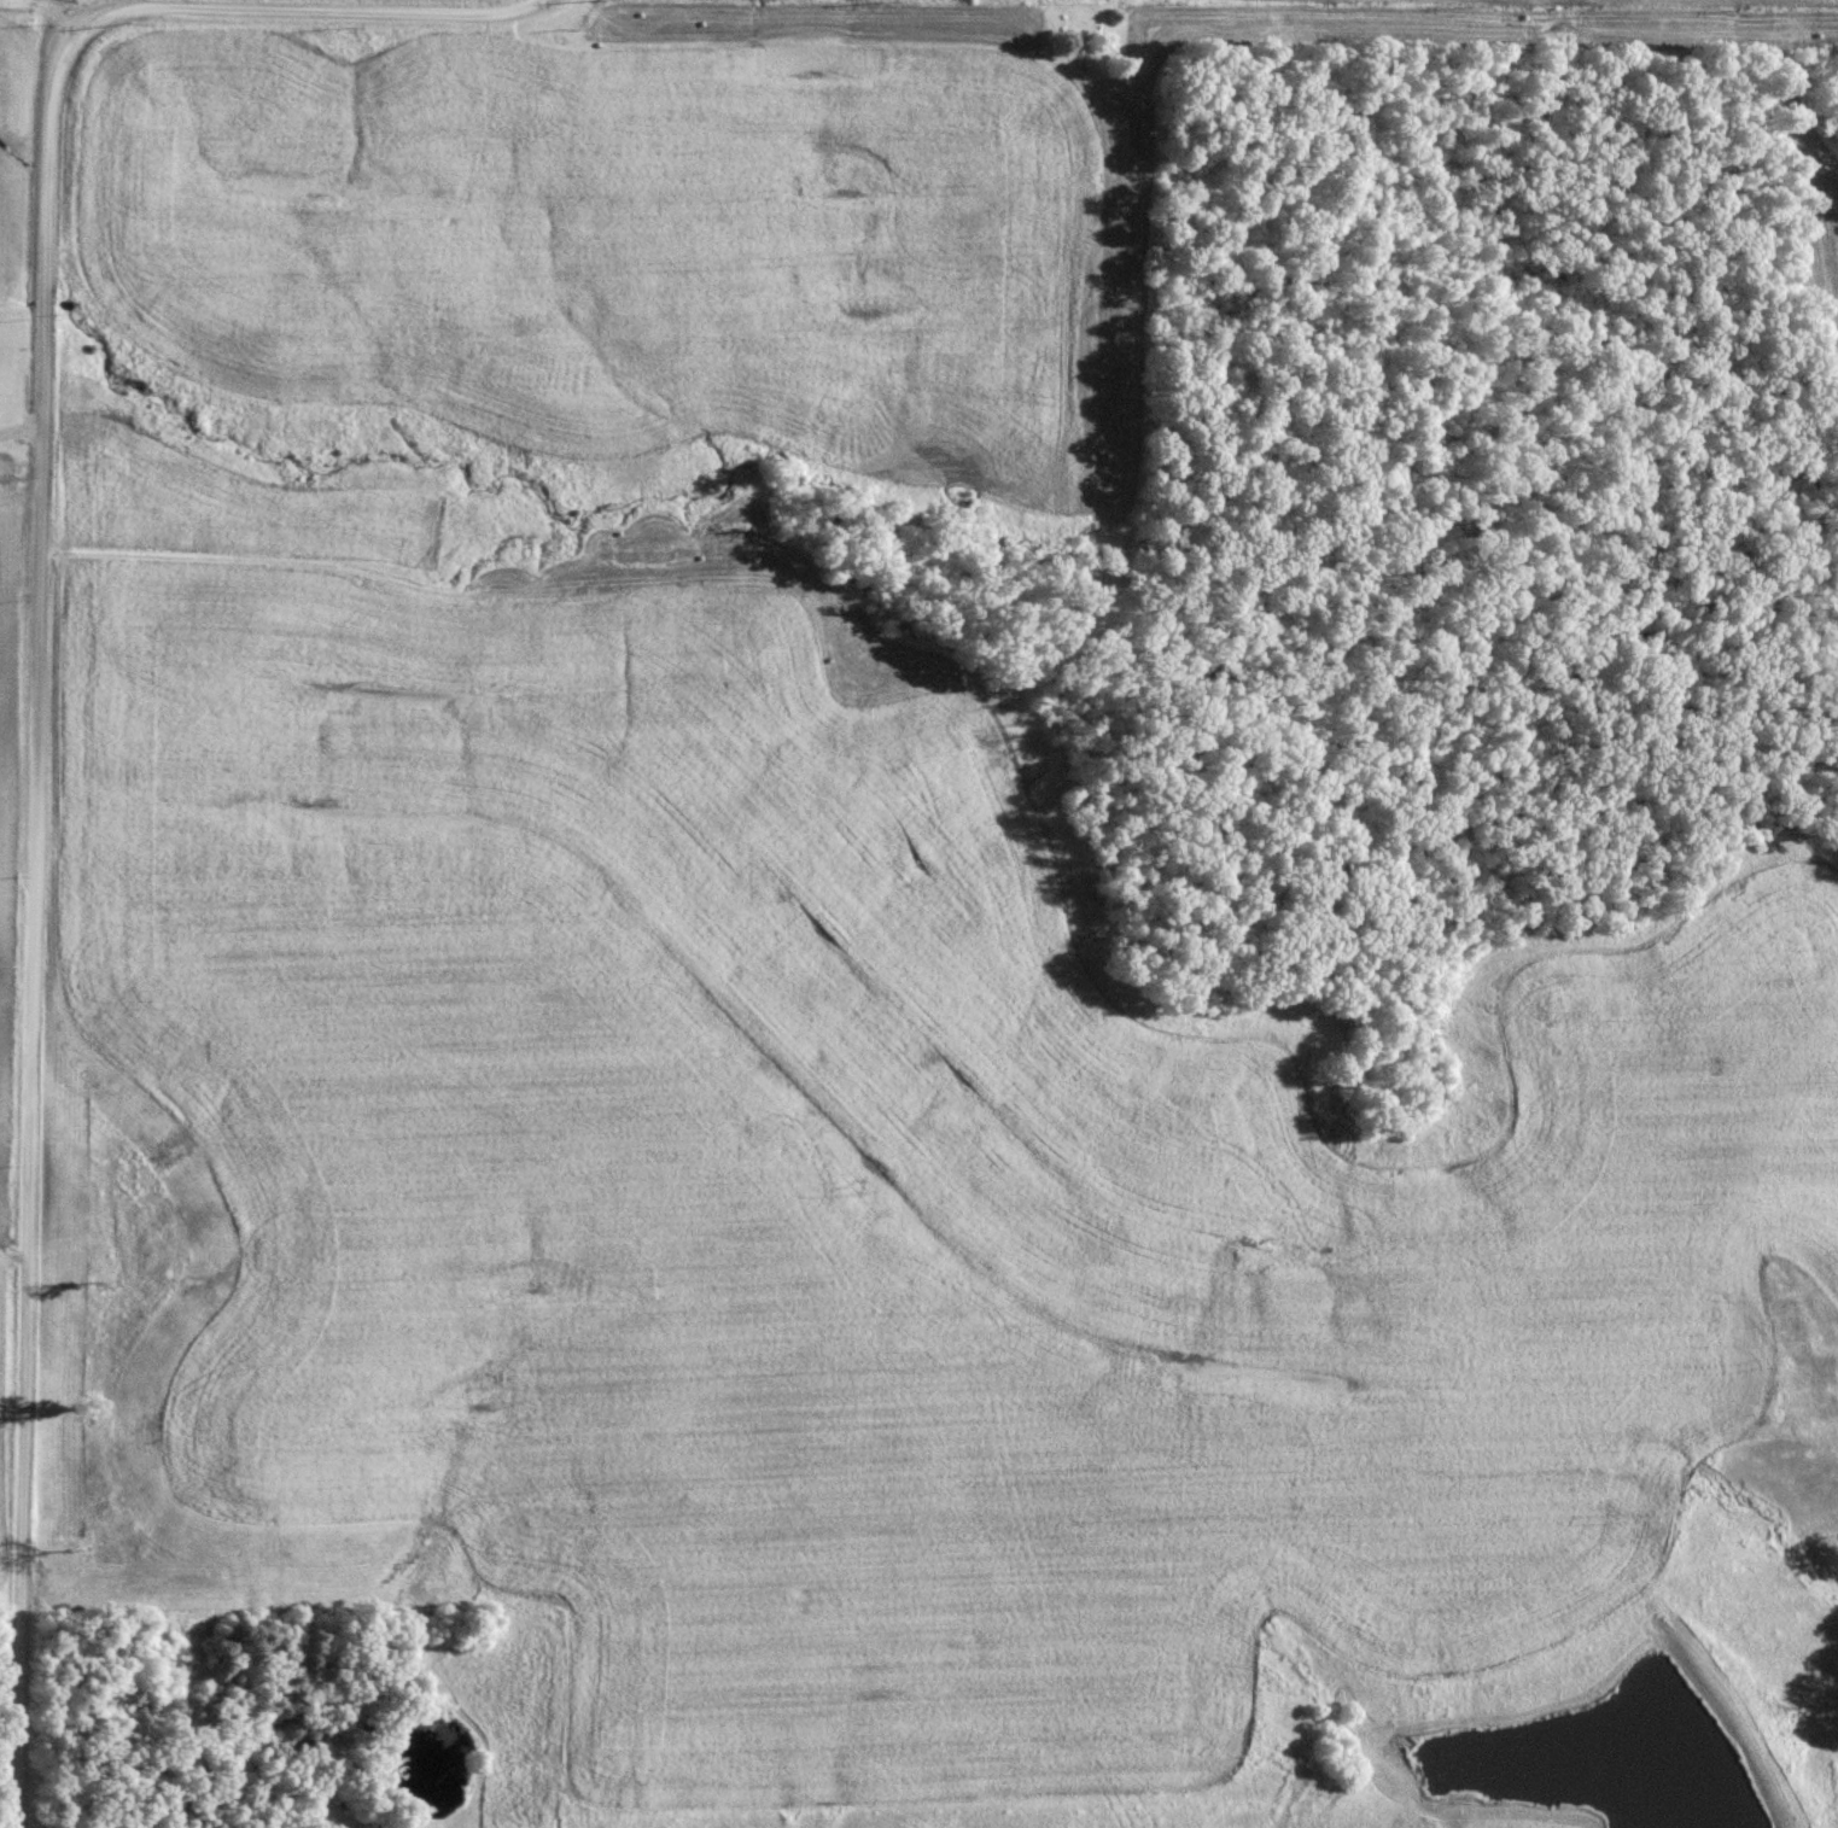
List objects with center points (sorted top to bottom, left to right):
road: (22, 430)
road: (39, 689)

